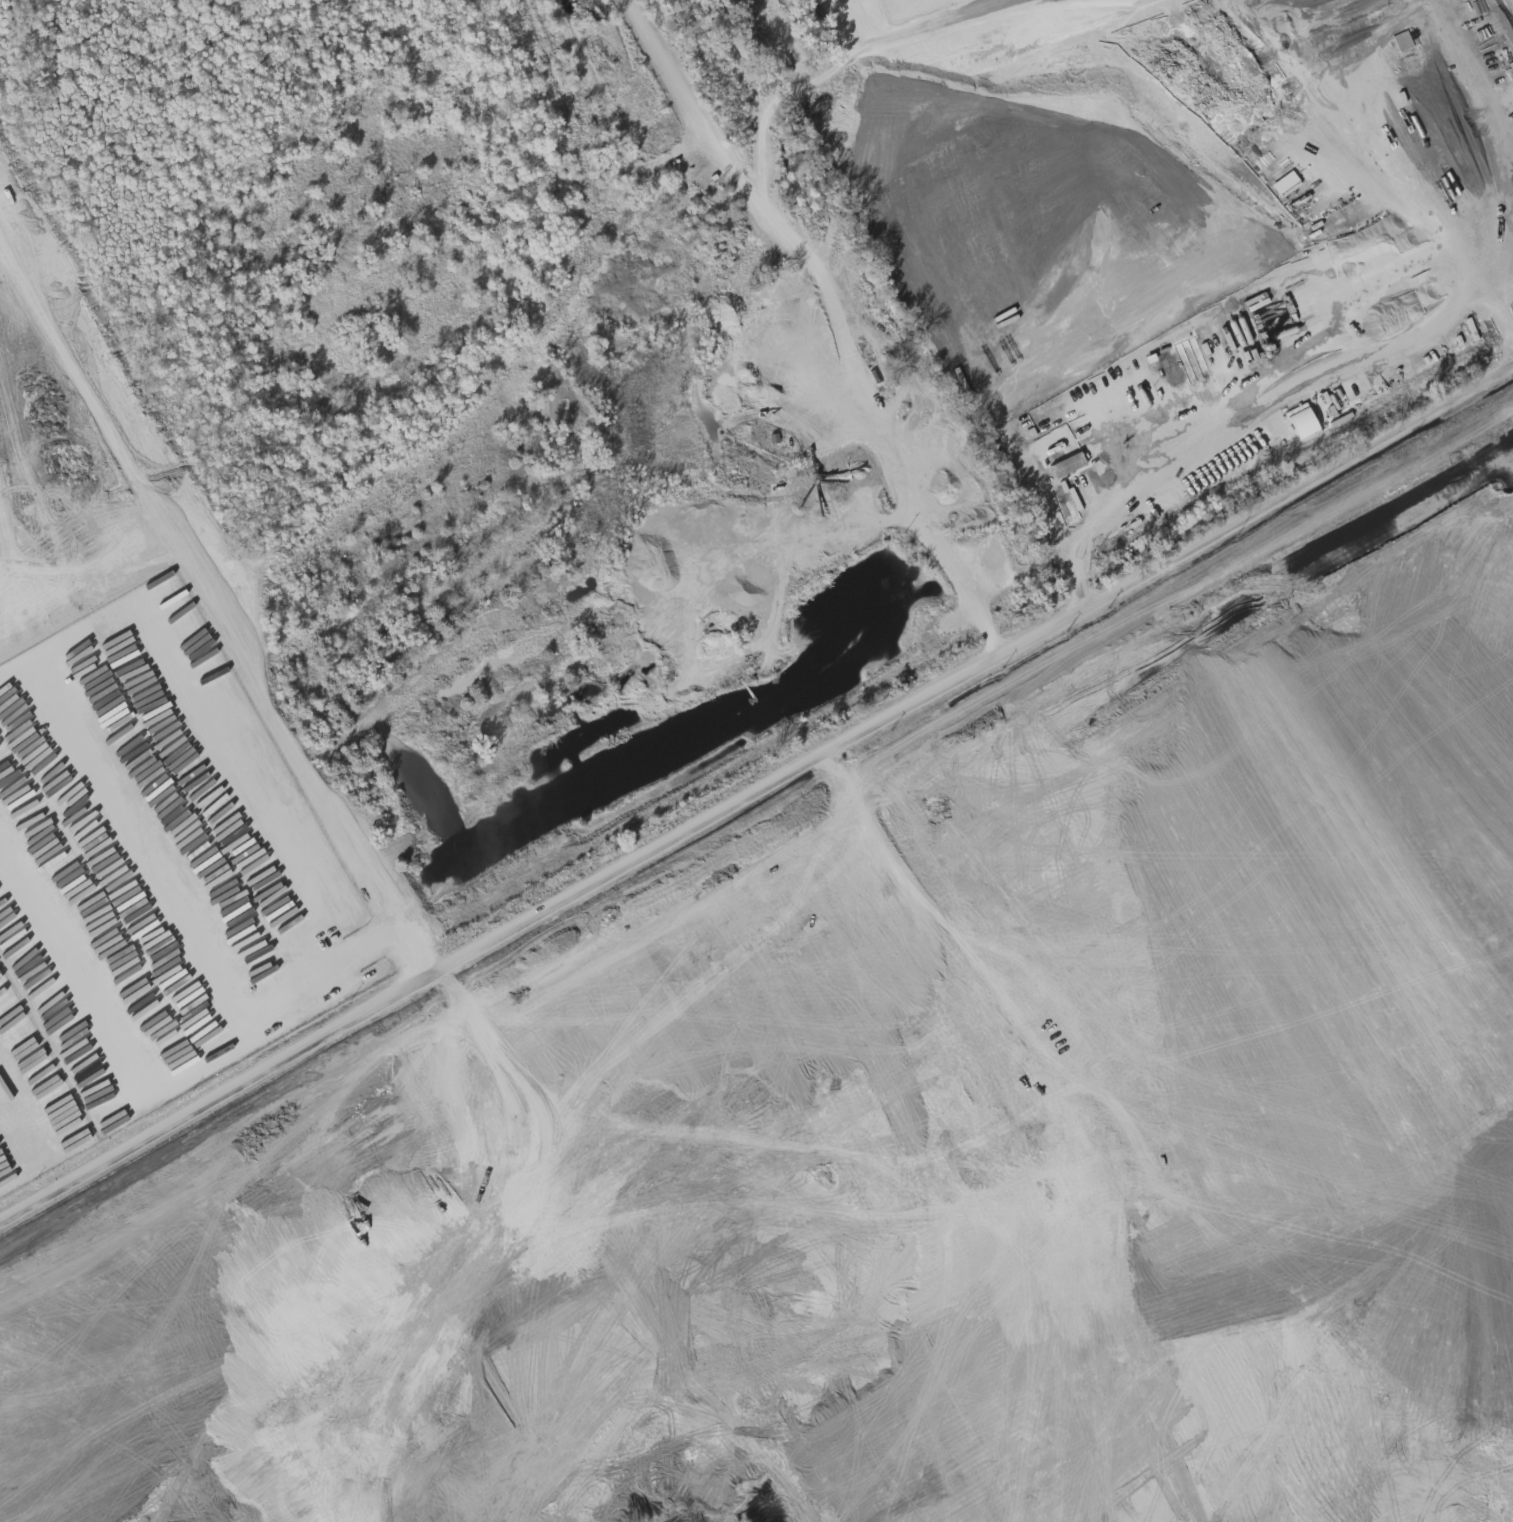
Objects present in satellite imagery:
road: (835, 315)
road: (1258, 402)
road: (751, 796)
road: (114, 1437)

